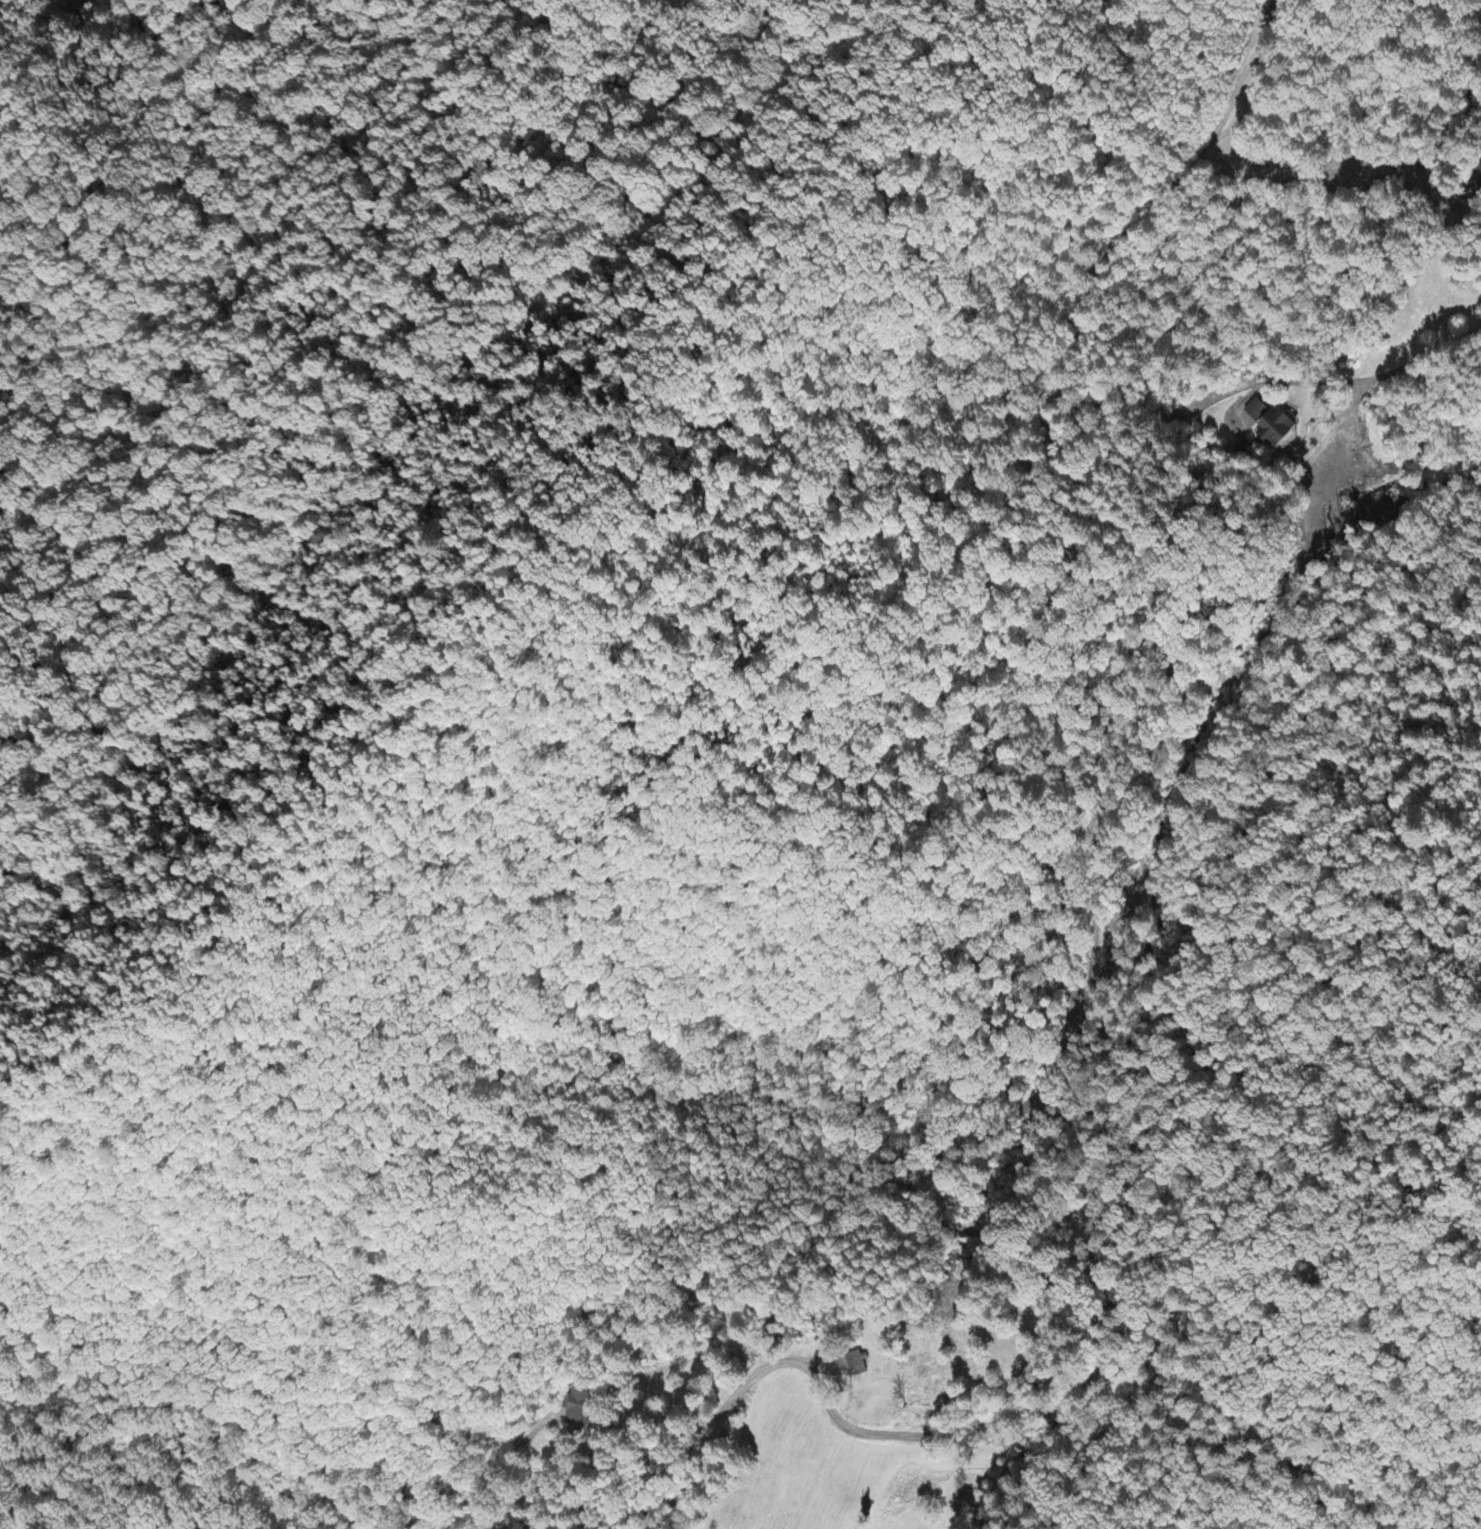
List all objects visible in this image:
road: (1397, 160)
road: (1258, 390)
building: (1268, 424)
road: (978, 1029)
building: (580, 1410)

